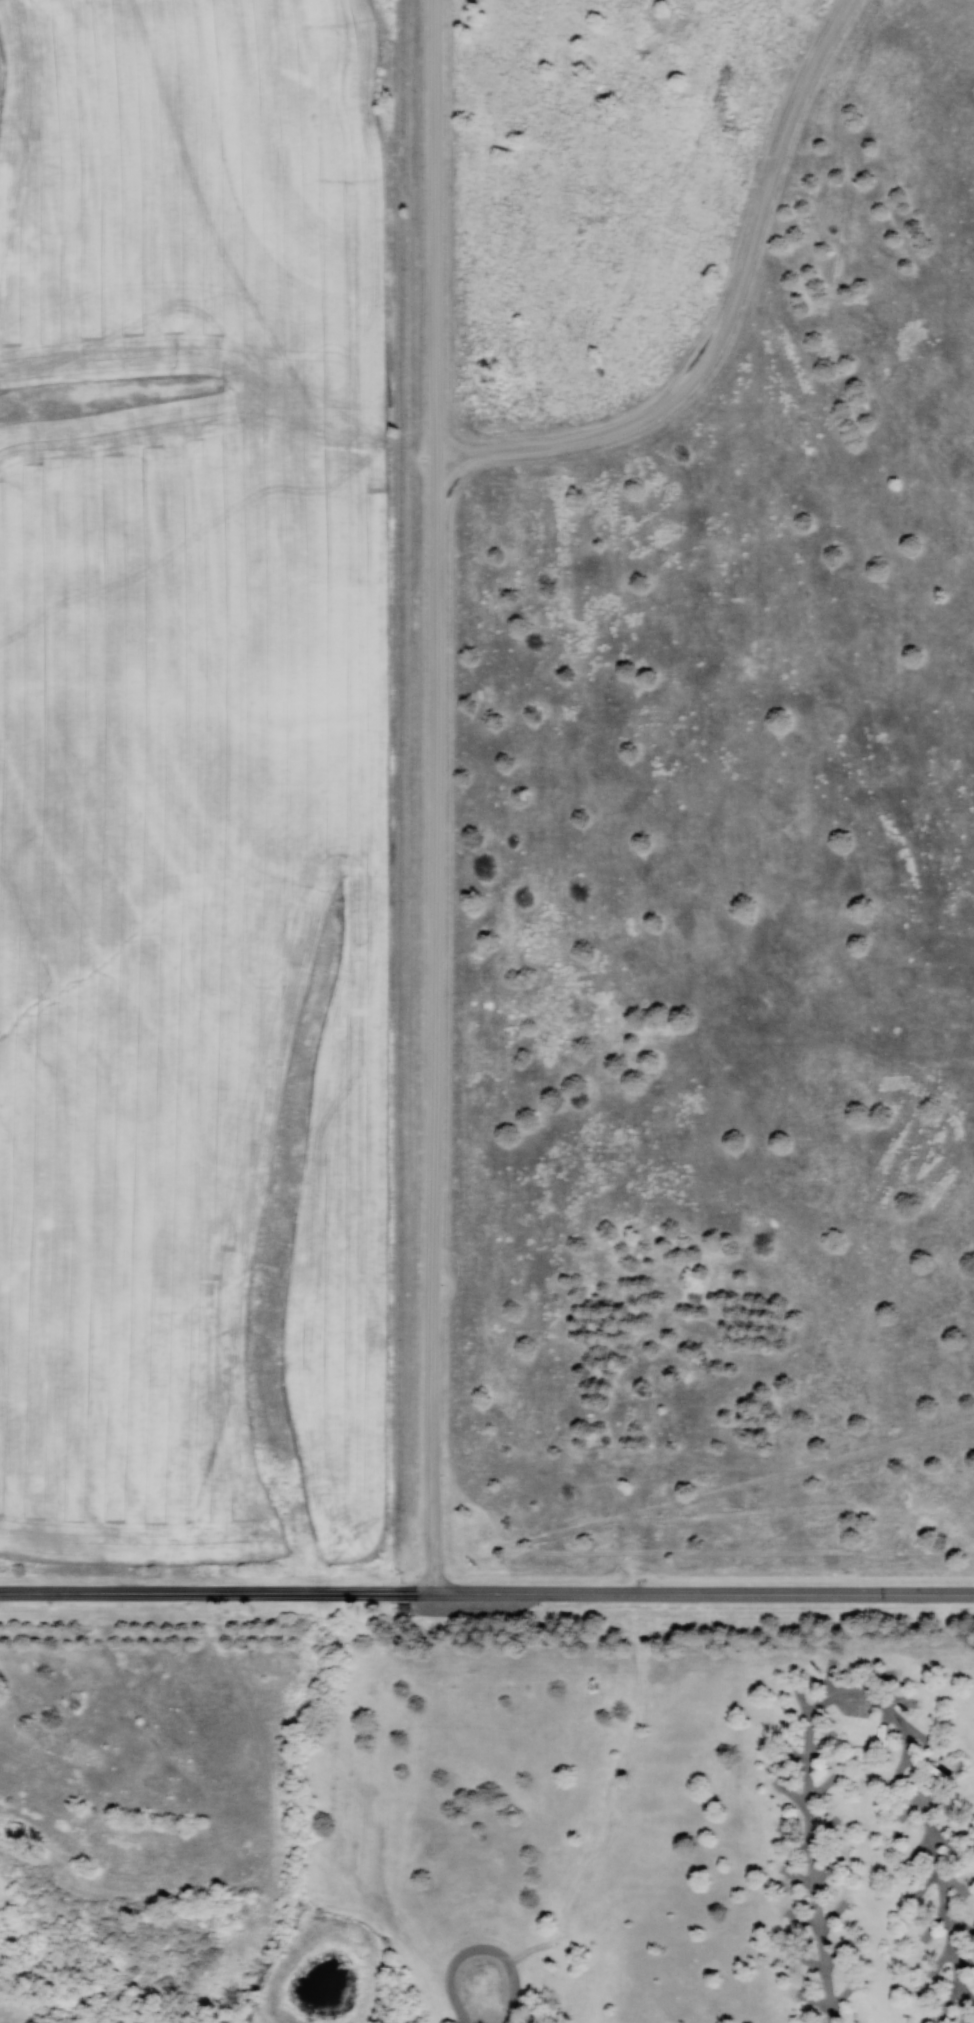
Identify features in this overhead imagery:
road: (722, 313)
road: (439, 793)
park: (633, 1130)
road: (738, 1557)
road: (217, 1588)
road: (704, 1590)
road: (576, 1671)
road: (852, 1697)
road: (479, 1949)

